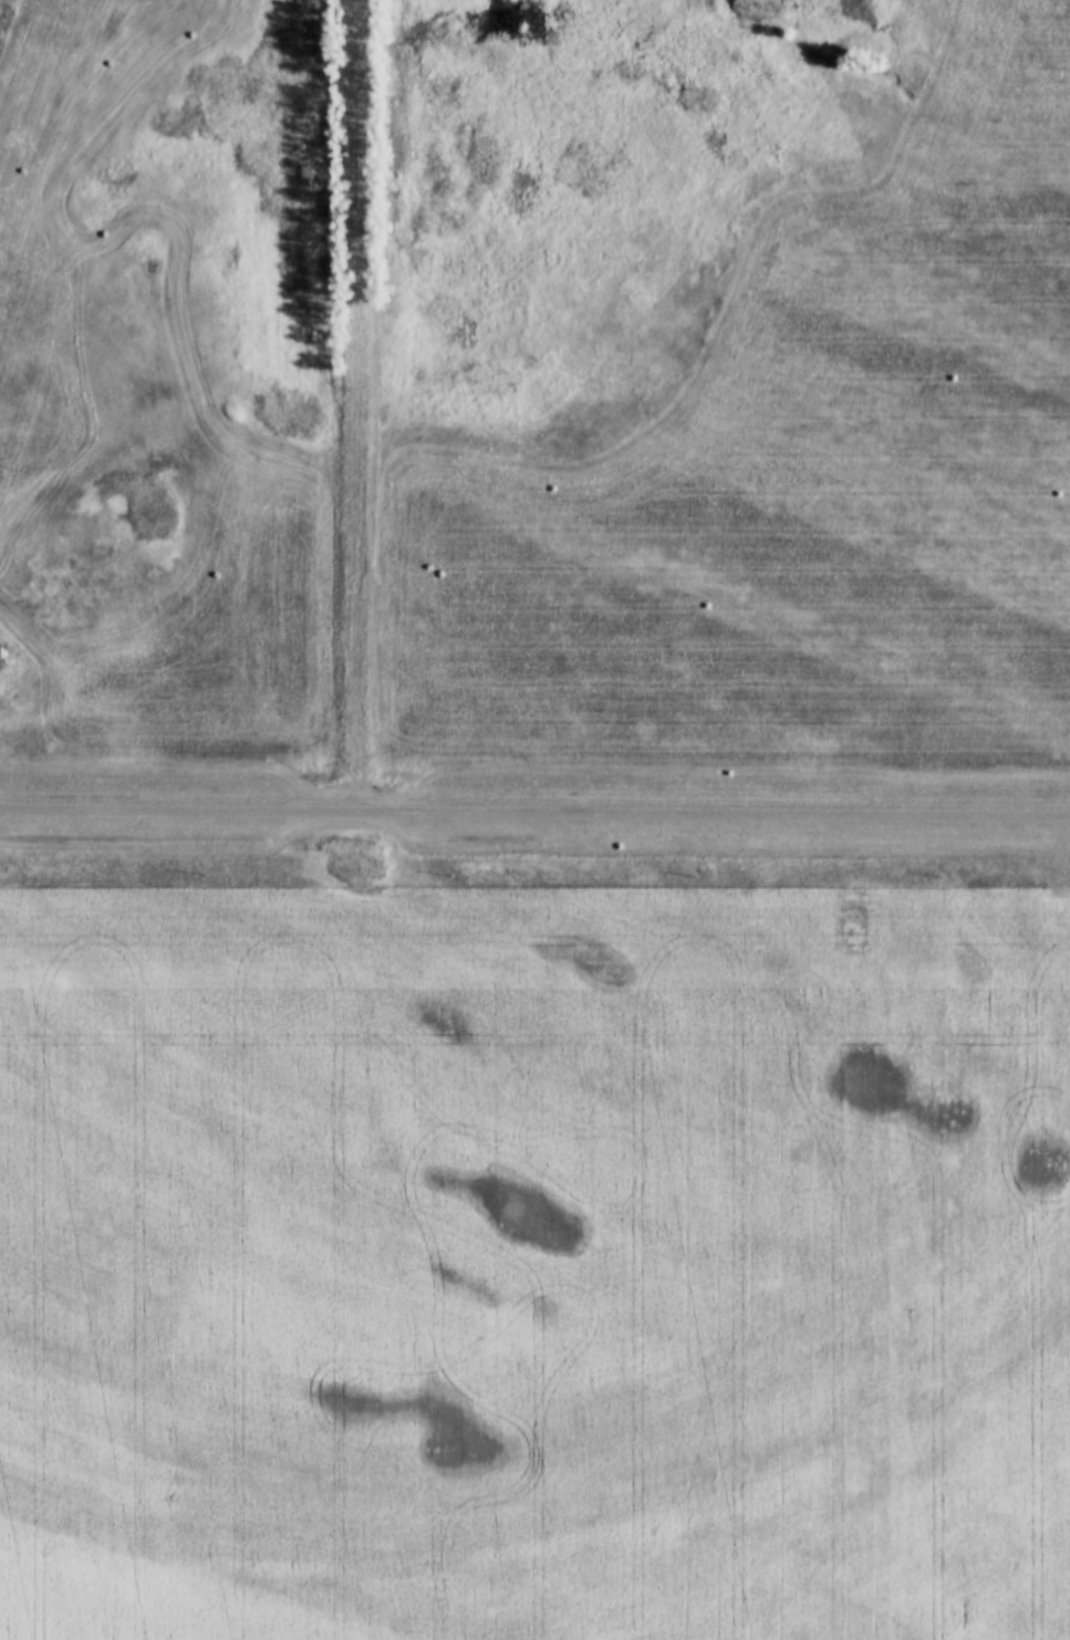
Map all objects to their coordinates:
road: (359, 403)
road: (534, 806)

